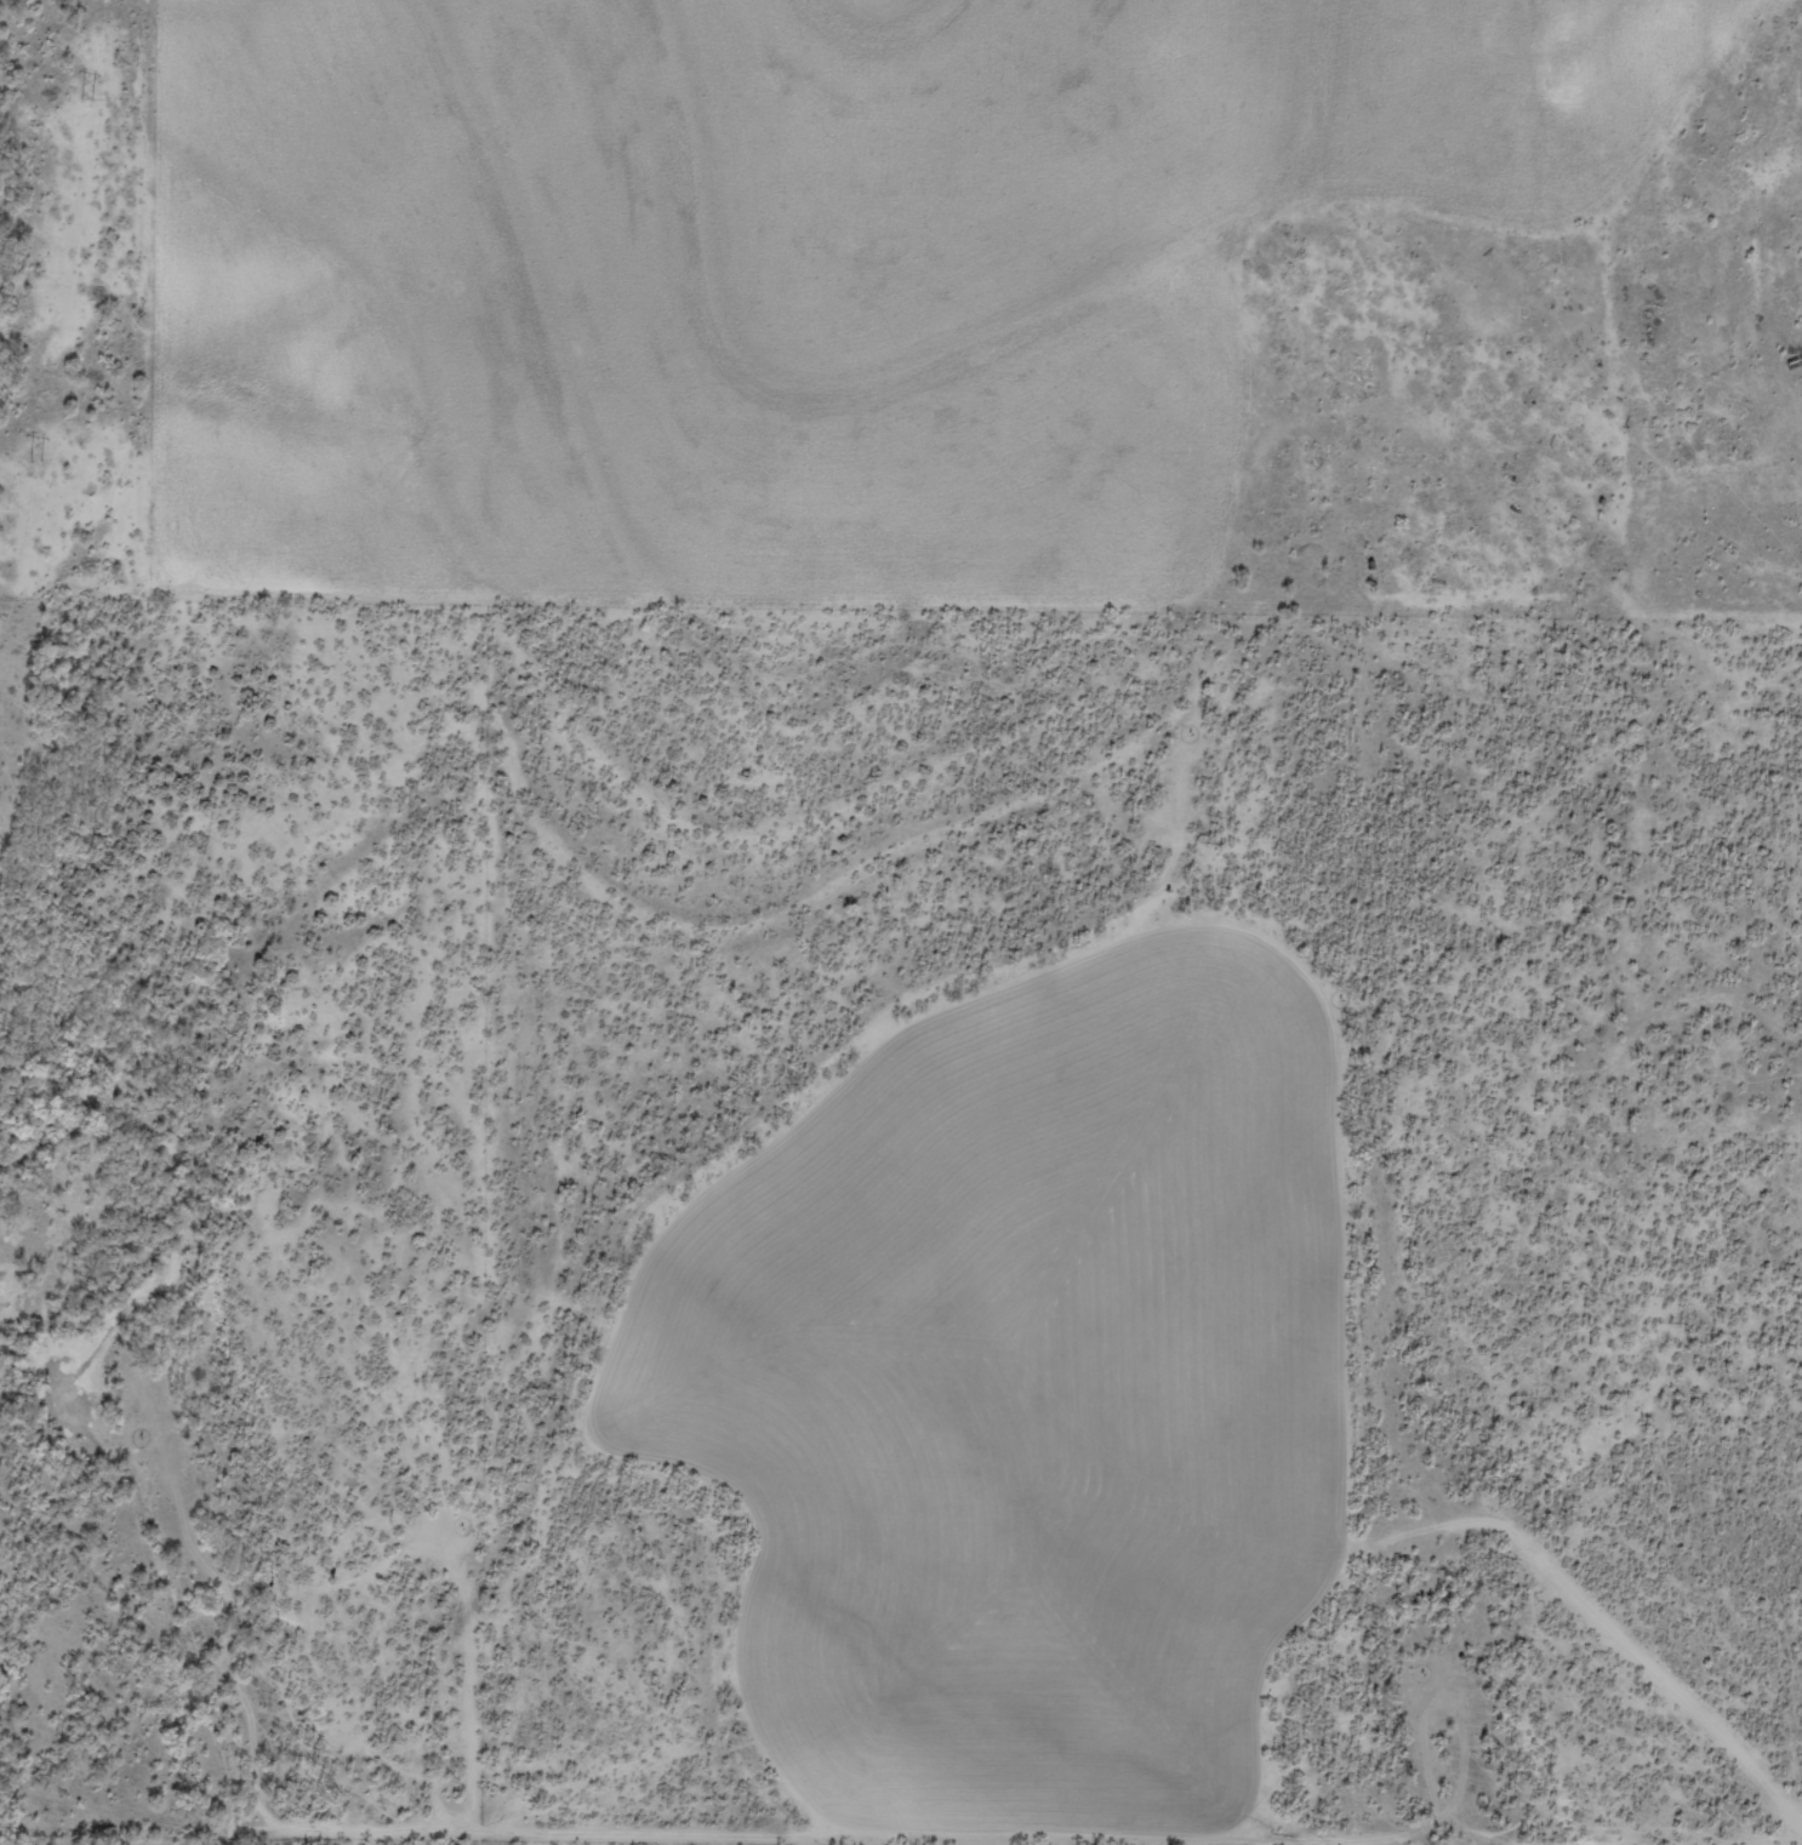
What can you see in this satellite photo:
power tower: (87, 97)
power tower: (35, 463)
road: (757, 1834)

